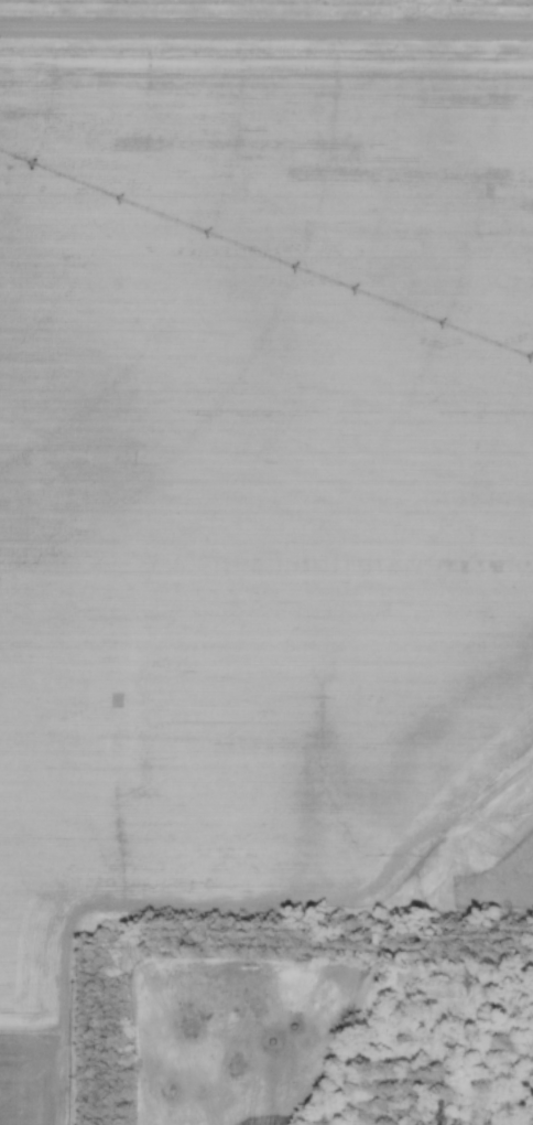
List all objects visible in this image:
road: (266, 32)

